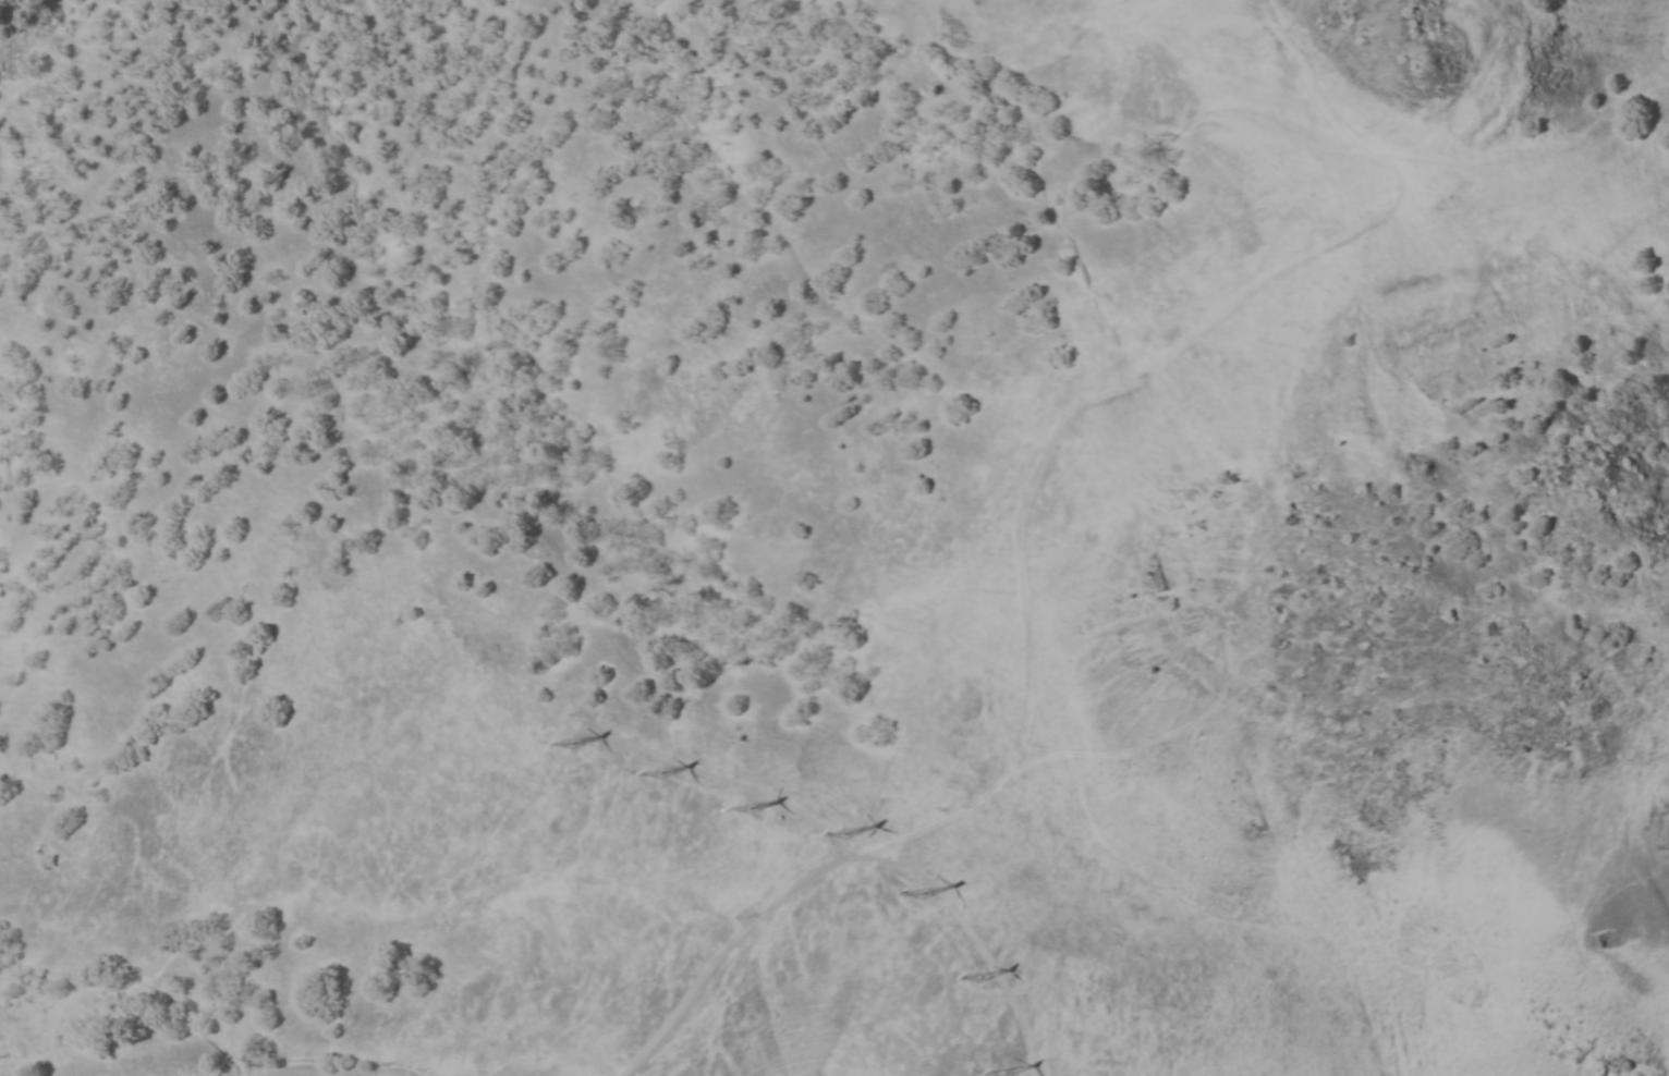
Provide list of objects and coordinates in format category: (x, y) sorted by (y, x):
road: (1108, 389)
wind turbine: (564, 745)
wind turbine: (658, 773)
wind turbine: (747, 808)
wind turbine: (841, 832)
road: (837, 859)
wind turbine: (919, 894)
road: (972, 934)
wind turbine: (977, 978)
wind turbine: (1002, 1073)

